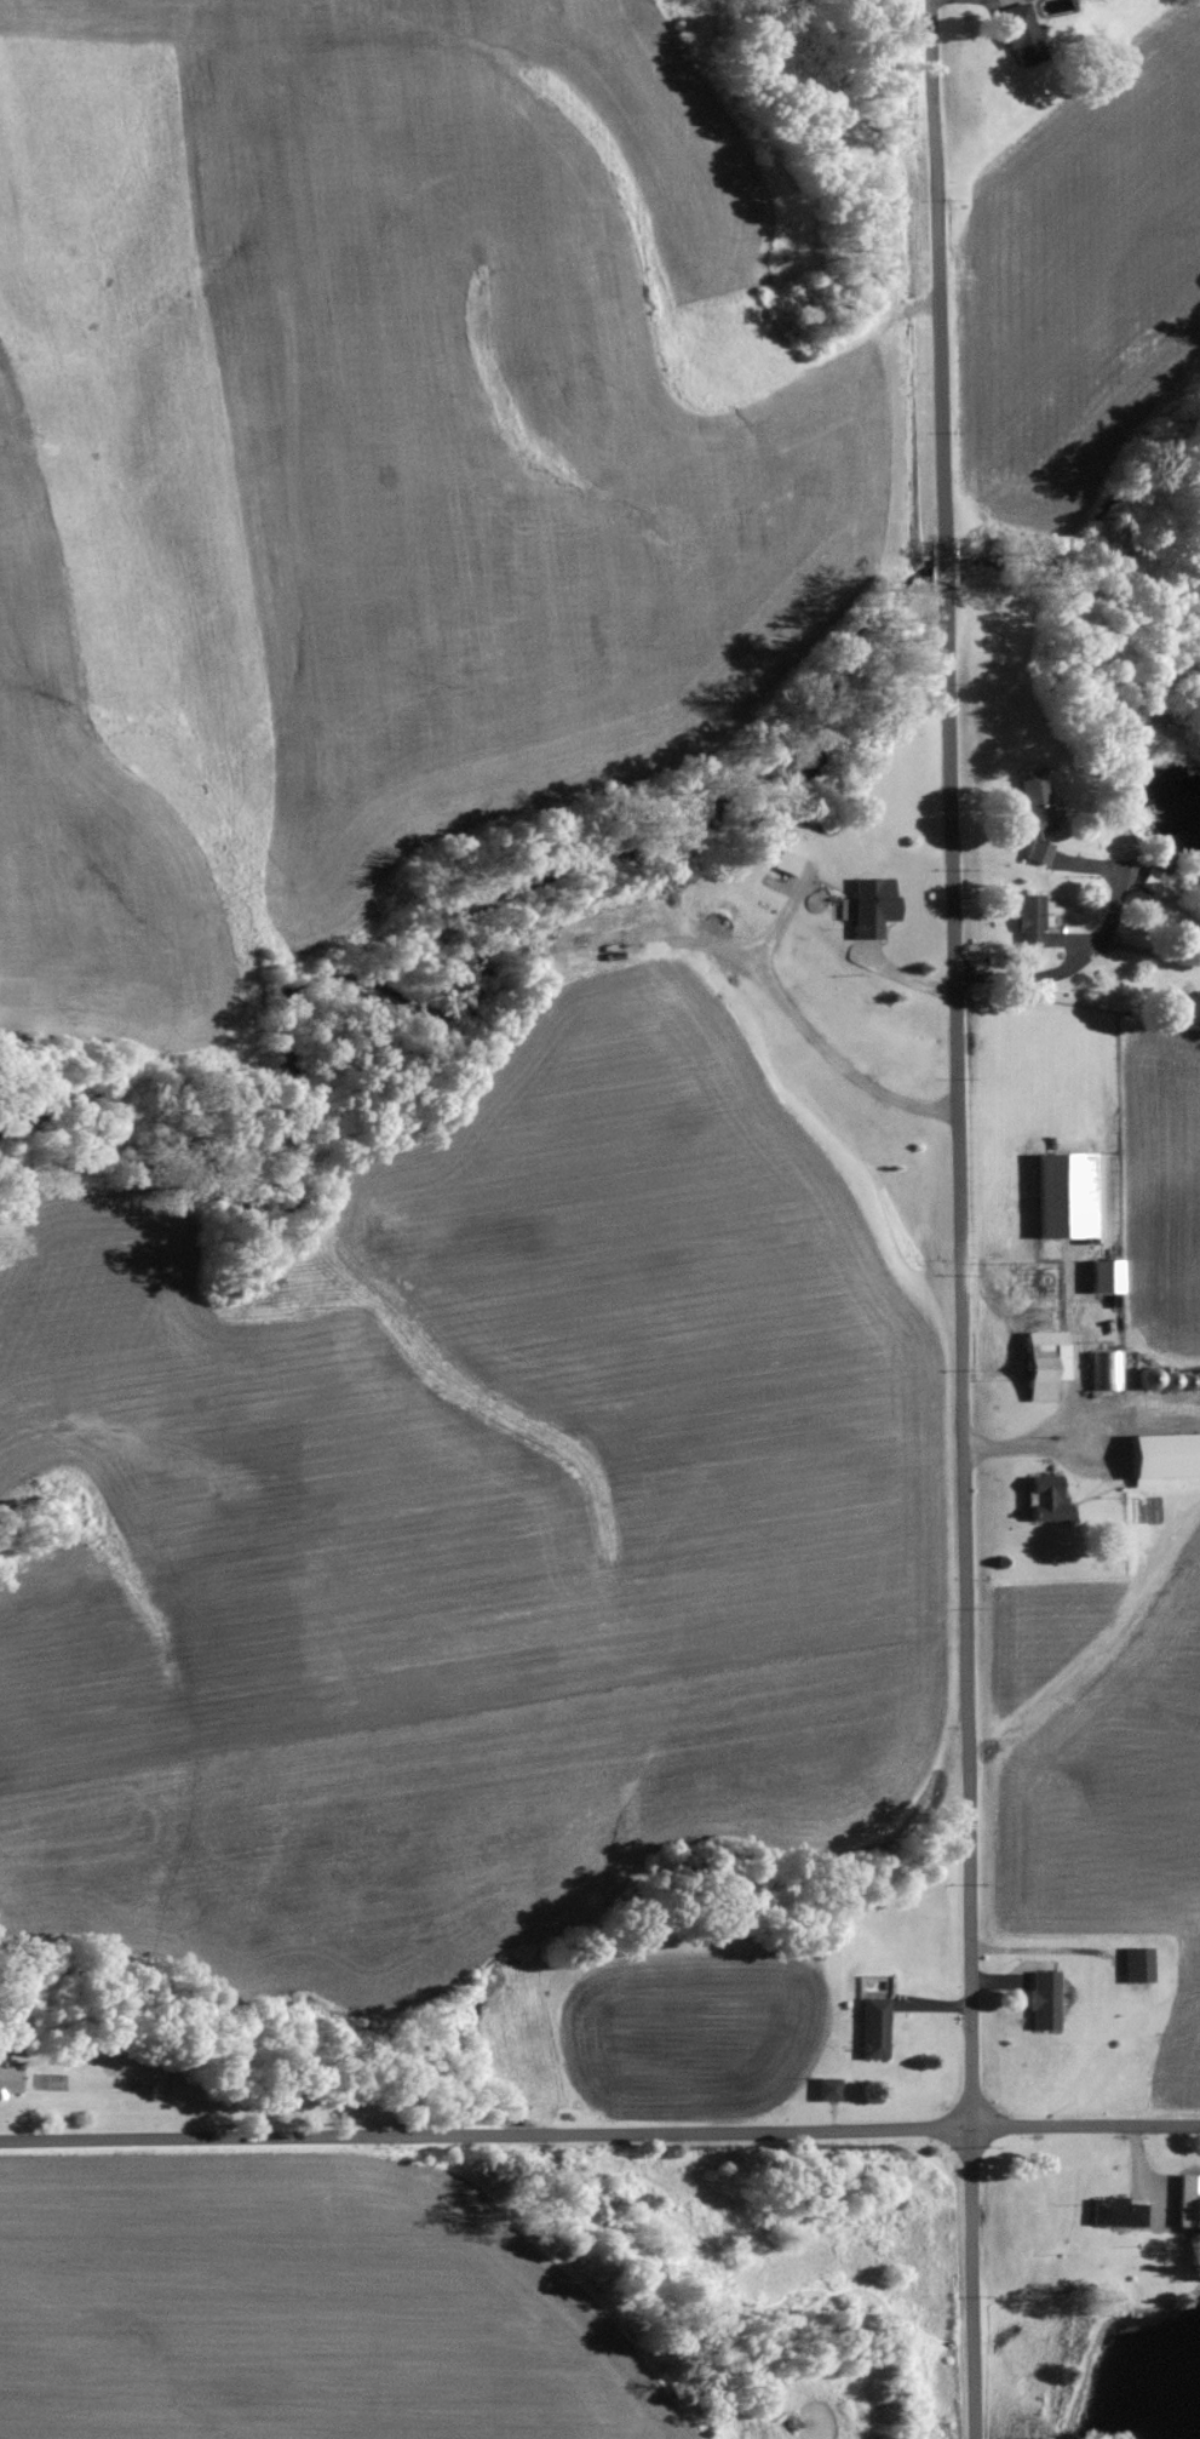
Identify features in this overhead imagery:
building: (1021, 35)
building: (1035, 801)
building: (1039, 852)
building: (787, 863)
building: (1156, 870)
building: (873, 906)
building: (1032, 920)
road: (1066, 971)
building: (1068, 1196)
road: (958, 1219)
building: (1107, 1277)
building: (1045, 1364)
building: (1106, 1372)
building: (1166, 1456)
building: (1047, 1500)
building: (1138, 1965)
building: (1045, 2000)
building: (874, 2029)
building: (8, 2082)
building: (828, 2091)
road: (599, 2129)
building: (1189, 2202)
building: (1118, 2214)

